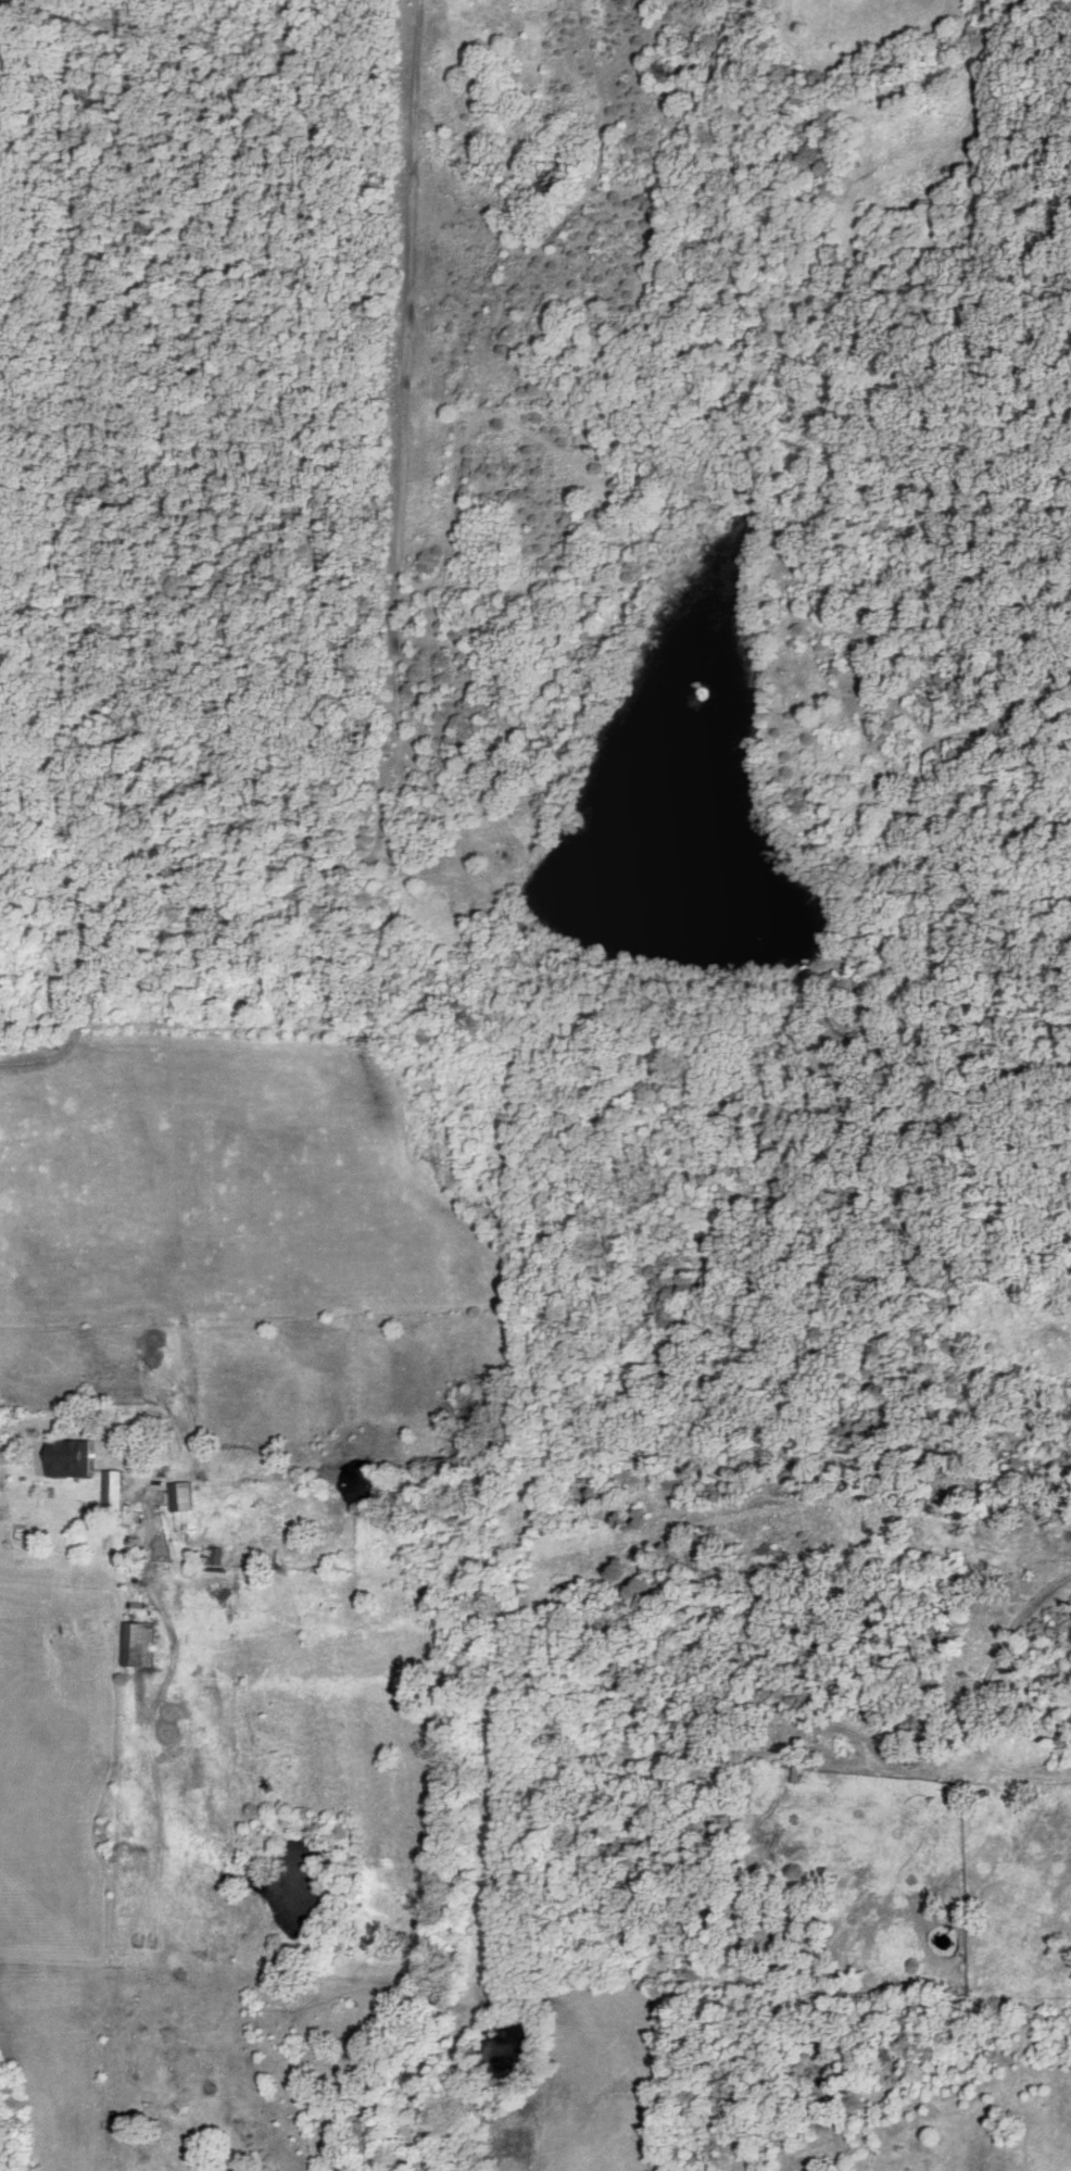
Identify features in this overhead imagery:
building: (73, 1457)
building: (114, 1490)
building: (185, 1495)
building: (216, 1555)
building: (141, 1643)

